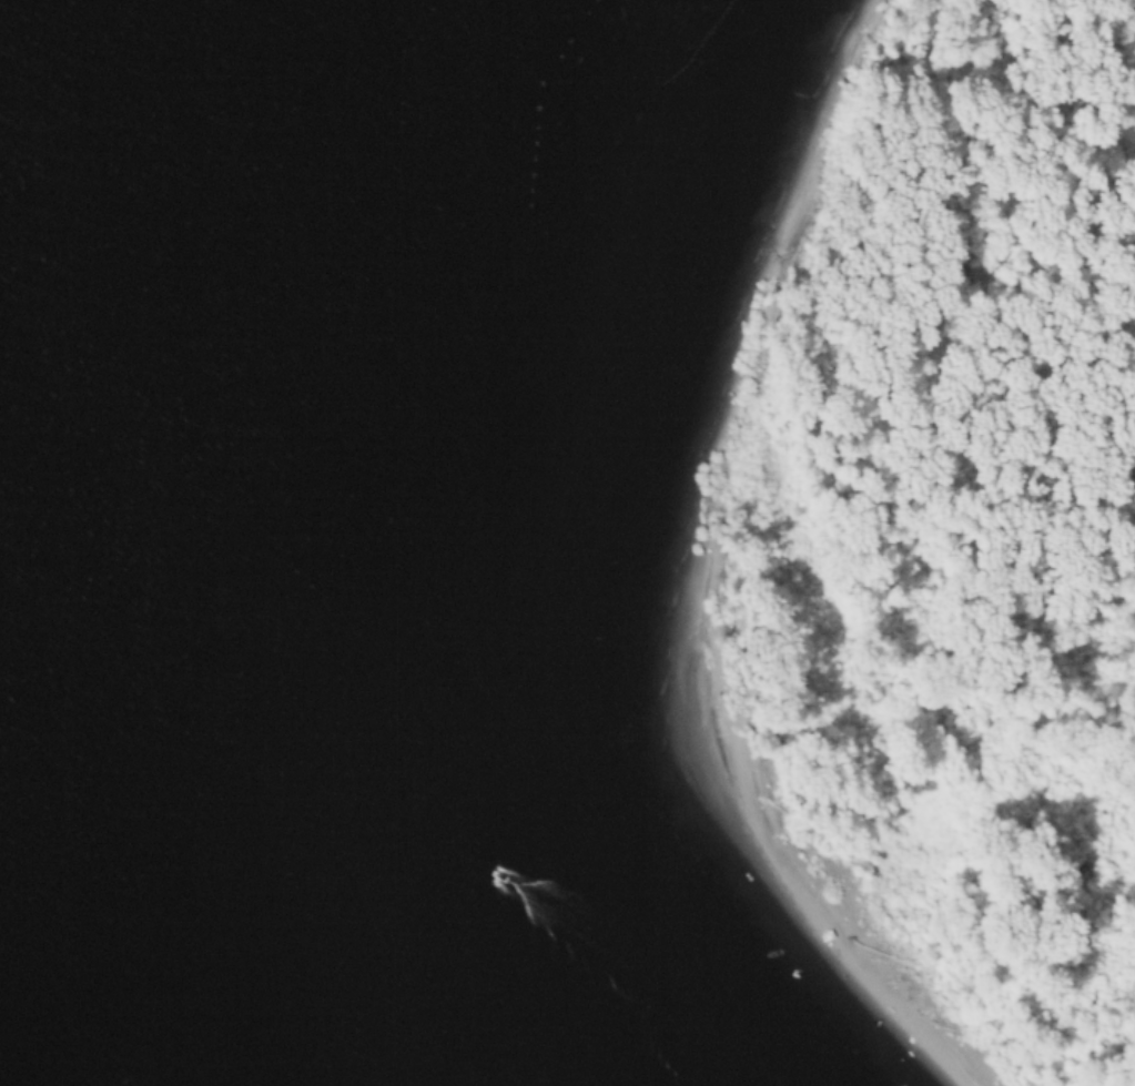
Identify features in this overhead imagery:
river: (313, 845)

